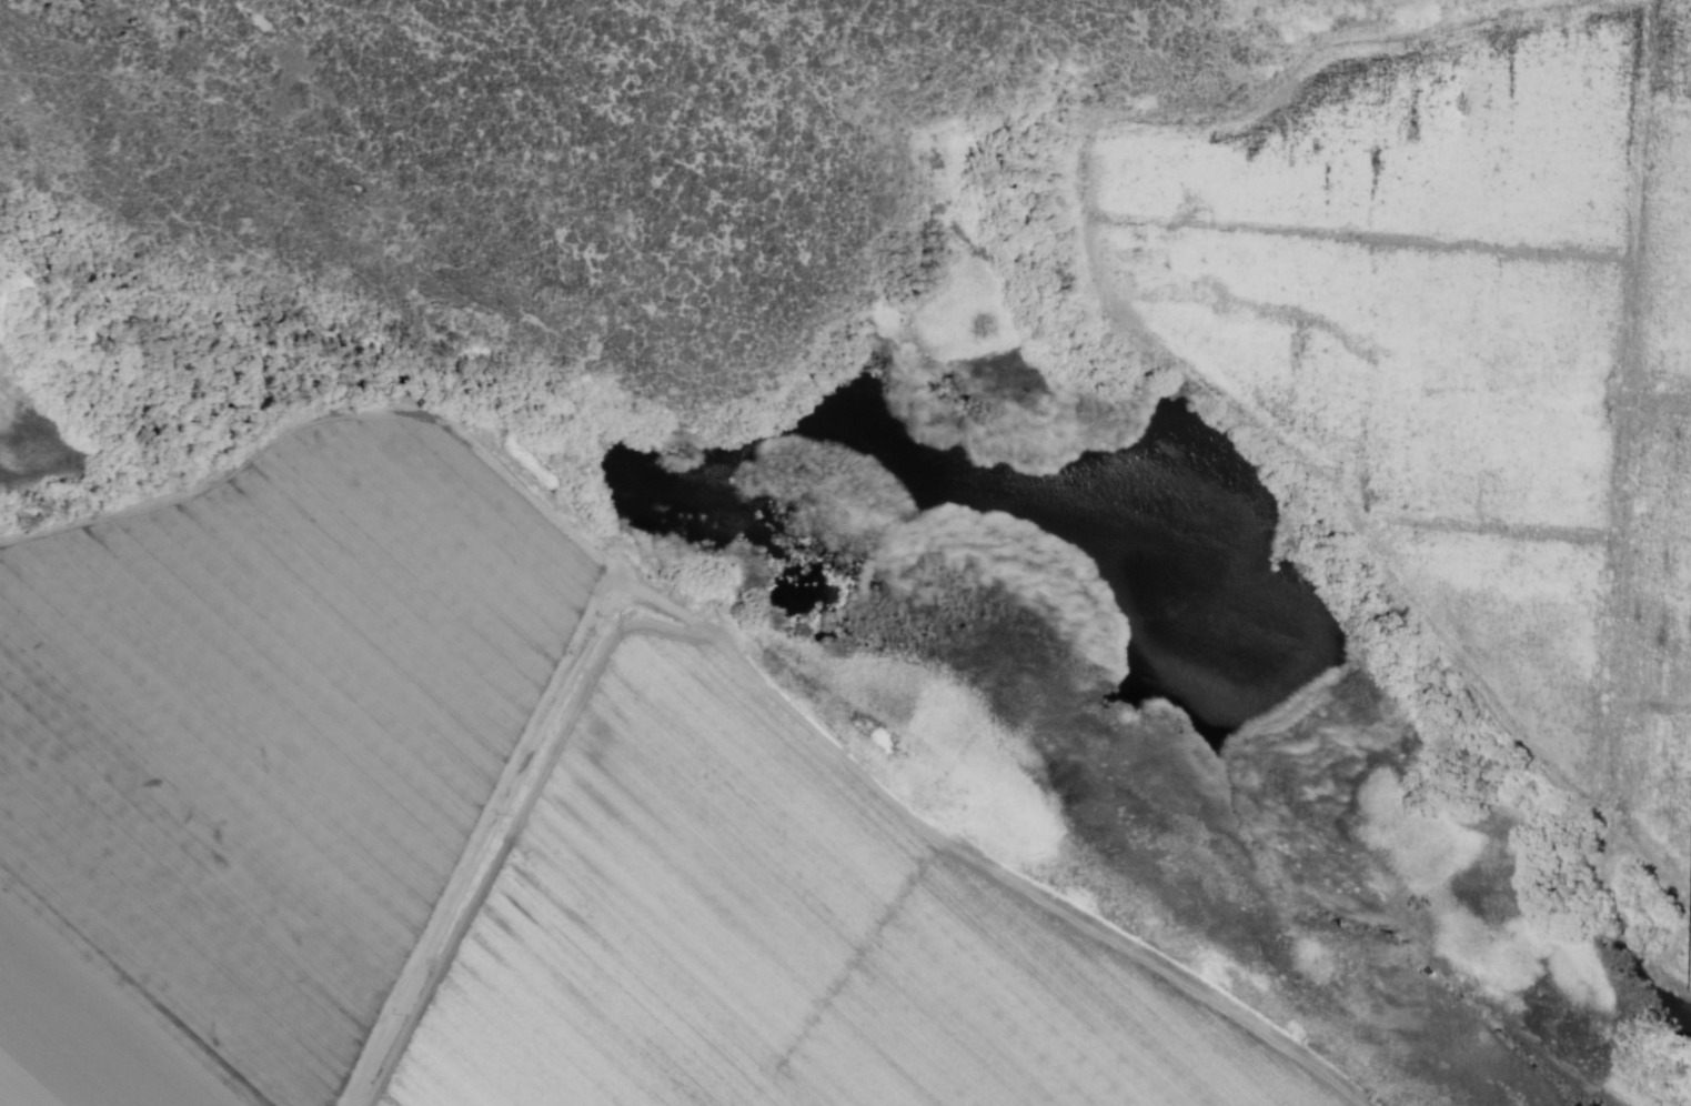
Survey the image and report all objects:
crop: (1672, 61)
crop: (1433, 144)
crop: (1668, 260)
crop: (1391, 359)
park: (843, 552)
crop: (1664, 563)
crop: (1521, 625)
crop: (265, 750)
crop: (1660, 786)
crop: (785, 937)

